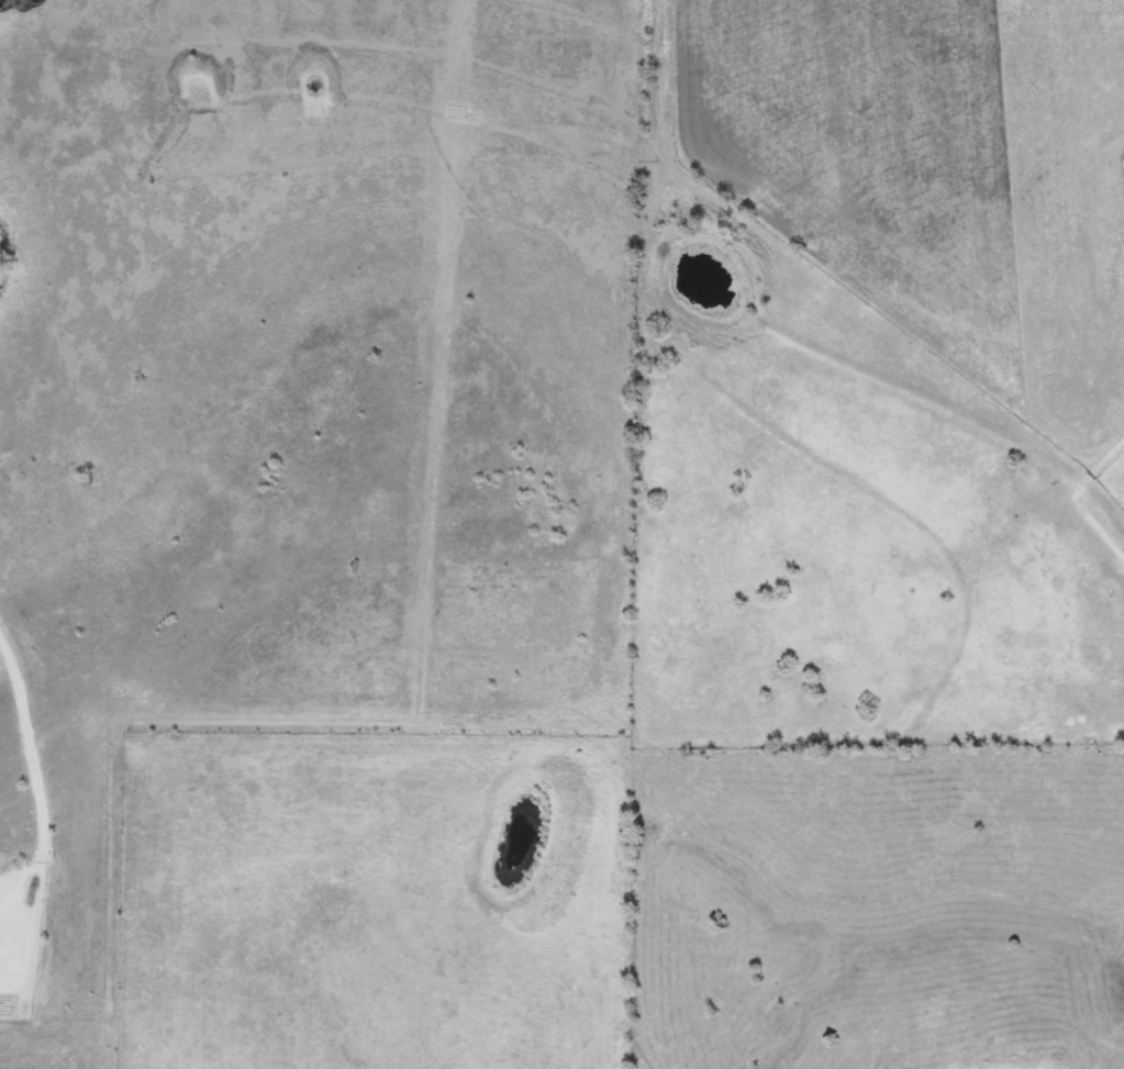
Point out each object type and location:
road: (33, 761)

